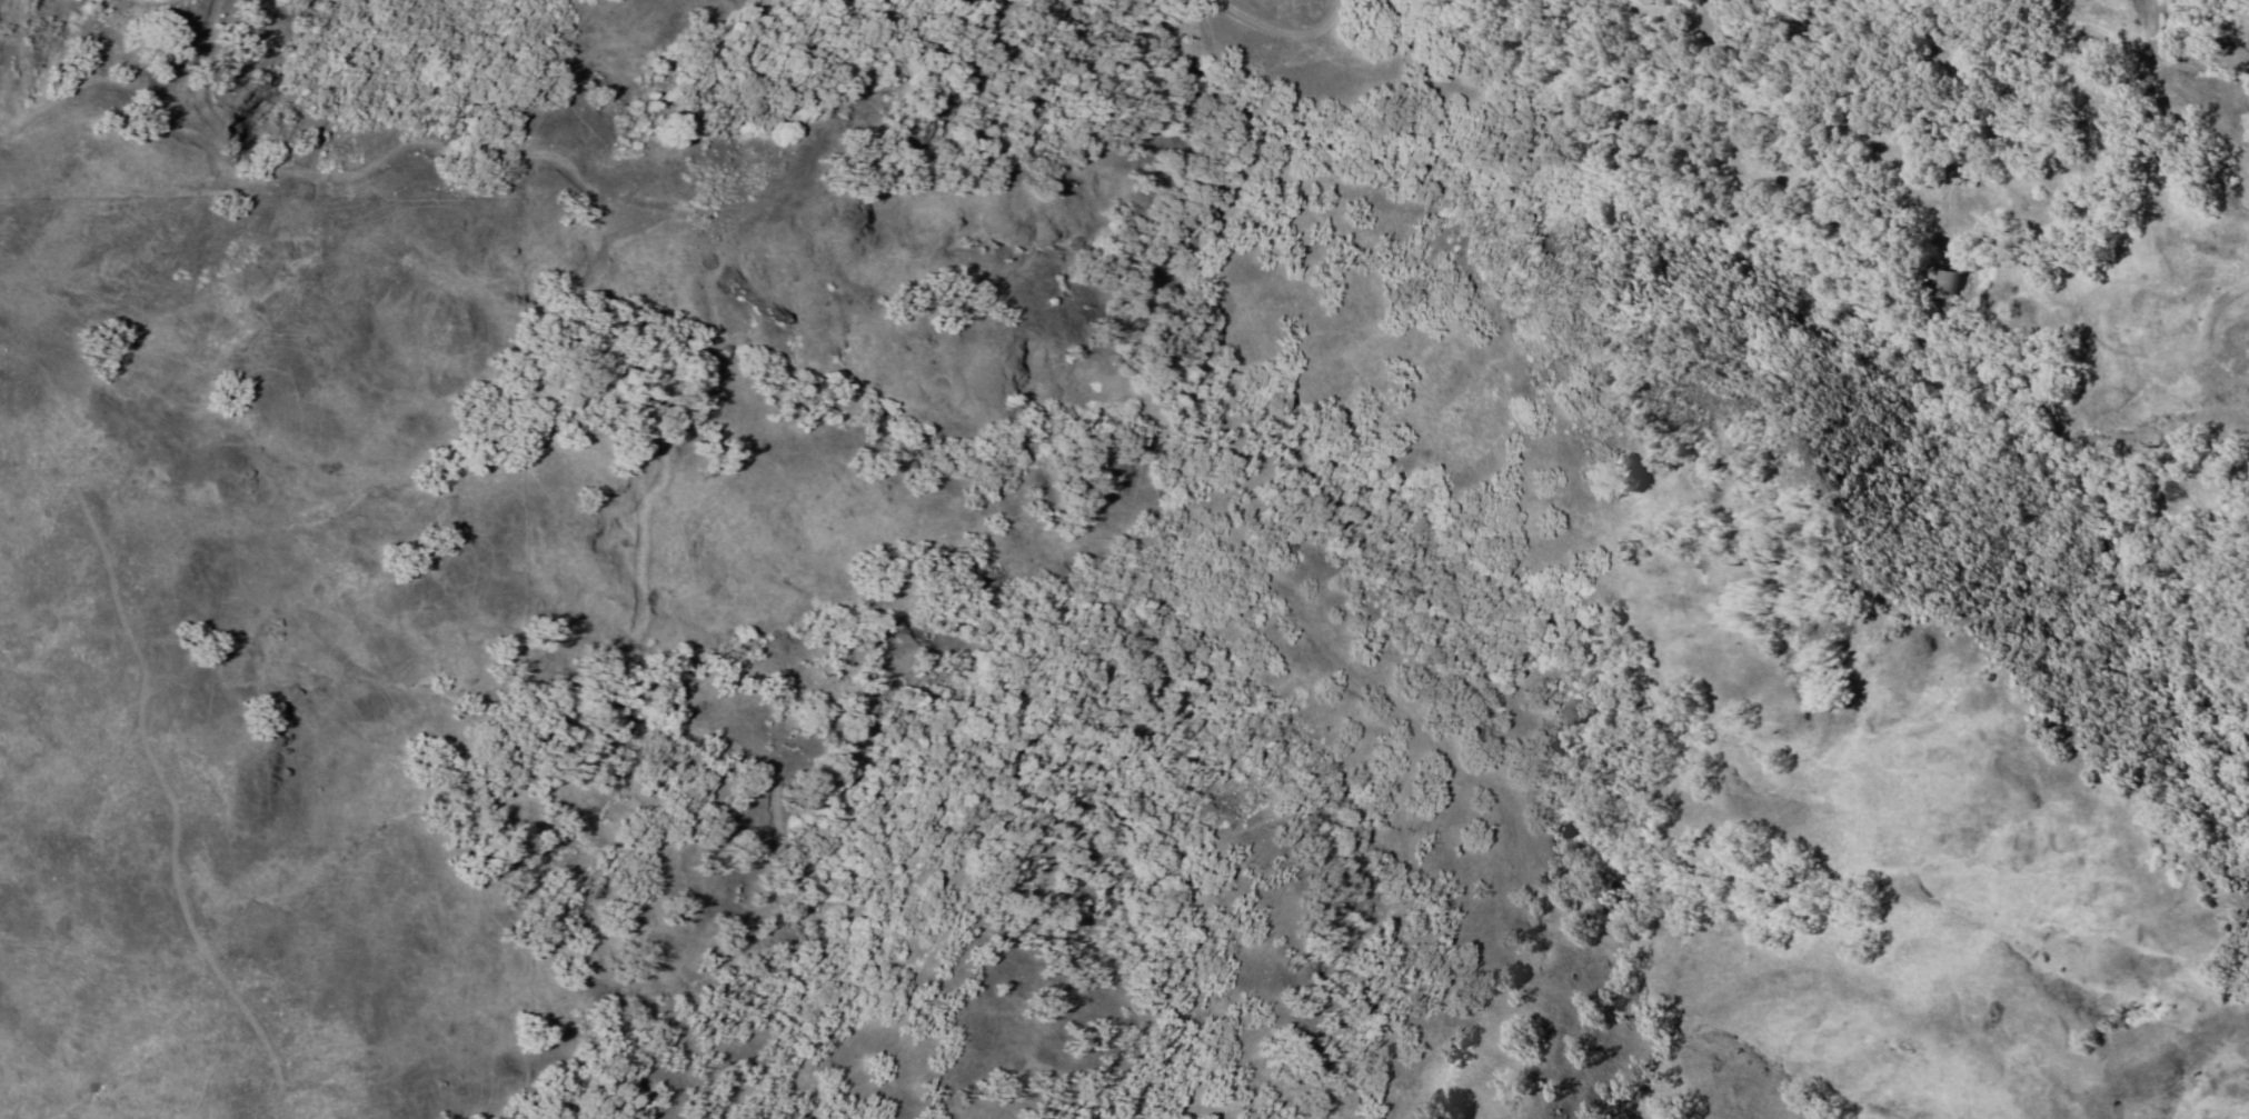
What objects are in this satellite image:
road: (1286, 32)
road: (2198, 64)
building: (1950, 284)
road: (1376, 548)
road: (161, 777)

